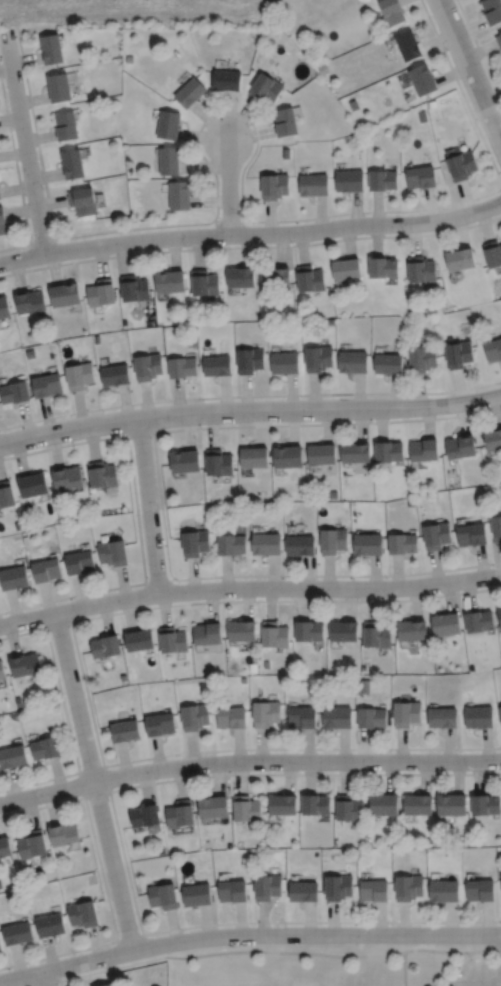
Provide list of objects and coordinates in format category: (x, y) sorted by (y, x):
building: (492, 10)
building: (391, 11)
crop: (140, 12)
building: (498, 40)
building: (408, 45)
building: (51, 49)
road: (469, 70)
building: (226, 79)
building: (422, 79)
building: (58, 88)
building: (265, 88)
building: (189, 92)
building: (285, 122)
building: (167, 124)
building: (65, 126)
road: (25, 142)
building: (168, 160)
building: (72, 164)
building: (461, 166)
building: (420, 177)
building: (382, 180)
building: (348, 181)
building: (313, 185)
road: (228, 186)
building: (273, 186)
building: (179, 196)
building: (0, 197)
building: (82, 202)
building: (2, 222)
road: (251, 234)
building: (492, 253)
building: (459, 260)
building: (382, 267)
building: (345, 270)
building: (420, 270)
building: (274, 277)
building: (240, 278)
building: (309, 279)
building: (169, 282)
building: (204, 283)
building: (134, 289)
building: (100, 293)
building: (64, 295)
building: (29, 302)
building: (4, 308)
building: (330, 321)
building: (29, 335)
building: (96, 339)
building: (493, 350)
building: (29, 354)
building: (458, 354)
building: (317, 358)
building: (420, 358)
building: (249, 360)
building: (352, 362)
building: (283, 363)
building: (387, 364)
building: (216, 365)
building: (146, 367)
building: (181, 368)
building: (114, 375)
building: (78, 376)
building: (46, 385)
building: (14, 392)
road: (249, 410)
building: (492, 440)
building: (460, 446)
building: (423, 449)
building: (388, 451)
building: (355, 452)
building: (321, 455)
building: (287, 456)
building: (253, 457)
building: (184, 461)
building: (218, 462)
building: (101, 474)
building: (66, 477)
building: (33, 484)
building: (6, 494)
road: (148, 505)
building: (495, 527)
building: (471, 534)
building: (435, 535)
building: (332, 540)
building: (195, 543)
building: (266, 543)
building: (402, 543)
building: (299, 544)
building: (367, 544)
building: (230, 545)
building: (112, 552)
building: (79, 563)
building: (46, 570)
building: (14, 578)
road: (330, 588)
road: (79, 607)
building: (499, 616)
building: (478, 621)
building: (445, 623)
building: (241, 629)
building: (411, 630)
building: (307, 631)
building: (343, 631)
building: (207, 633)
building: (274, 634)
building: (376, 634)
building: (138, 640)
building: (173, 641)
building: (105, 646)
building: (24, 664)
building: (1, 671)
building: (18, 700)
building: (265, 713)
building: (405, 713)
building: (499, 713)
building: (194, 717)
building: (230, 717)
building: (301, 717)
building: (336, 717)
building: (370, 717)
building: (442, 717)
building: (478, 717)
building: (160, 724)
building: (124, 731)
building: (44, 748)
building: (12, 757)
road: (296, 761)
road: (93, 781)
road: (46, 791)
building: (417, 803)
building: (282, 804)
building: (383, 804)
building: (451, 804)
building: (485, 804)
building: (314, 805)
building: (212, 806)
building: (246, 808)
building: (348, 808)
building: (179, 814)
building: (144, 815)
building: (63, 833)
building: (32, 844)
building: (5, 846)
building: (266, 886)
building: (336, 887)
building: (408, 887)
building: (373, 890)
building: (444, 890)
building: (479, 890)
building: (231, 891)
building: (303, 891)
building: (196, 894)
building: (162, 896)
building: (82, 913)
building: (50, 925)
building: (17, 932)
road: (315, 934)
building: (0, 945)
road: (434, 950)
road: (229, 951)
park: (337, 964)
road: (66, 966)
parking lot: (474, 975)
road: (46, 979)
park: (307, 983)
building: (107, 985)
road: (478, 985)

